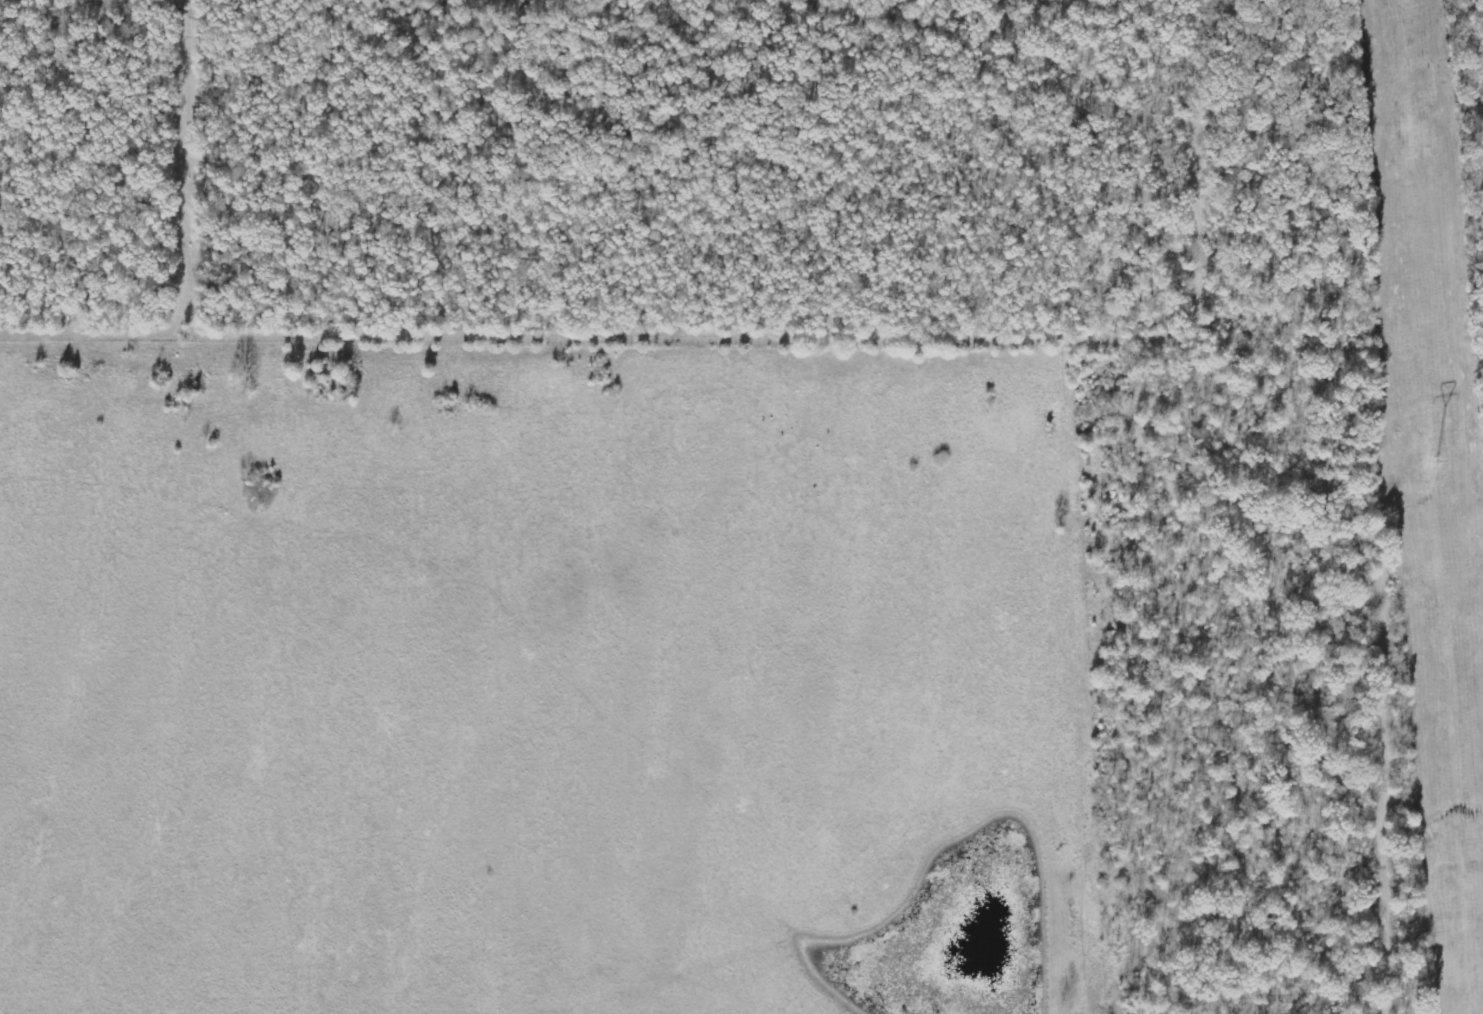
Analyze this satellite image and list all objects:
power tower: (1436, 459)

